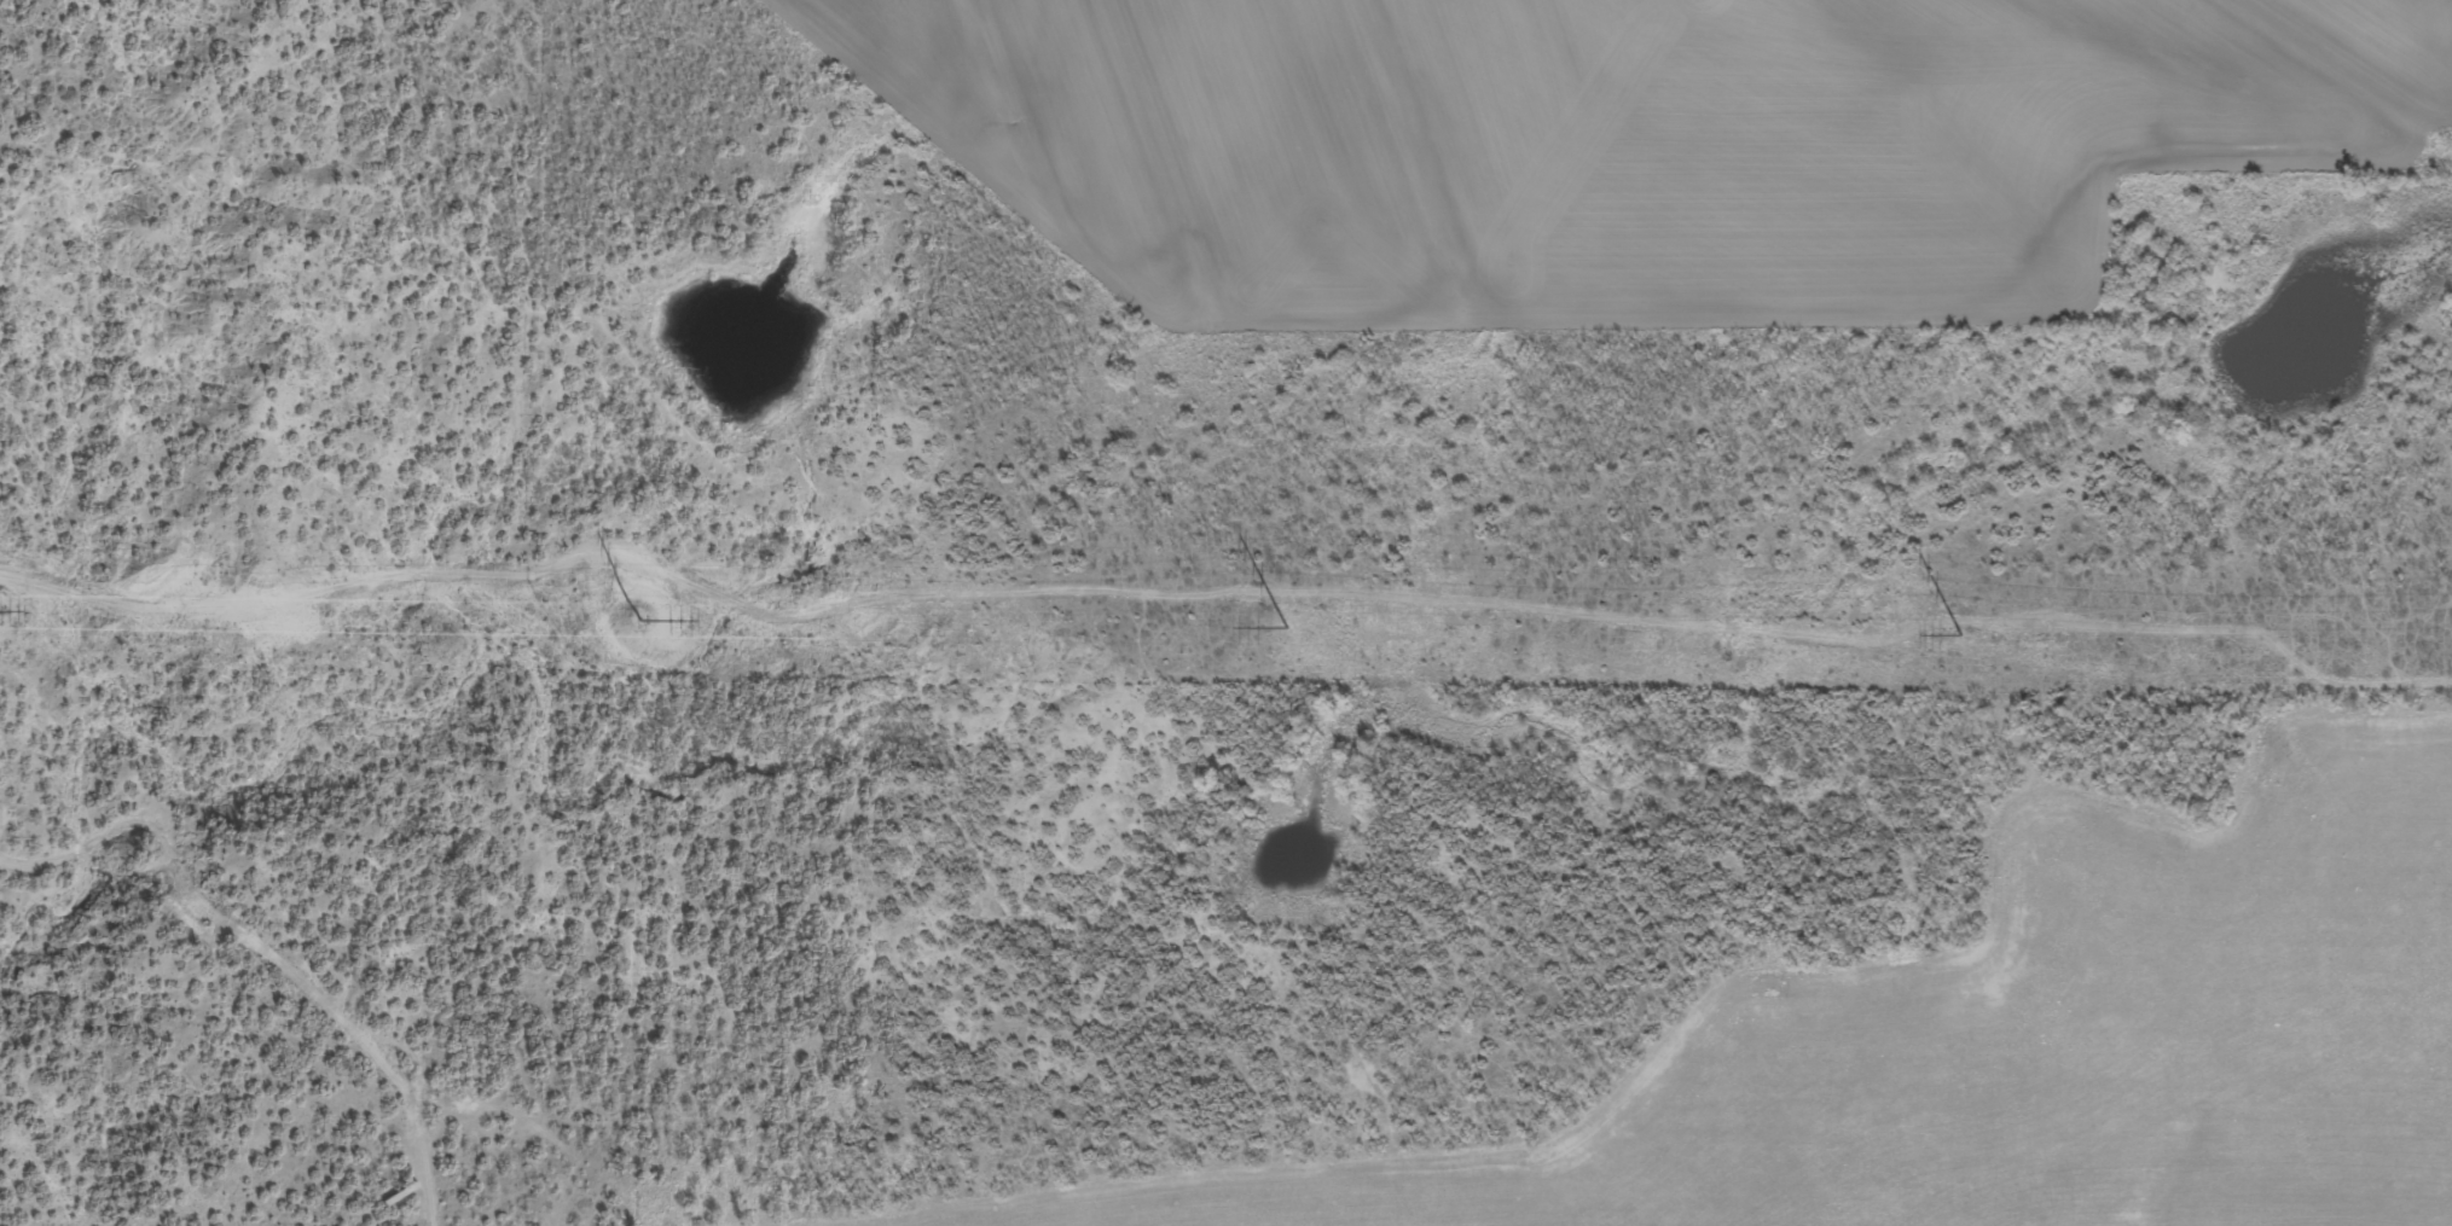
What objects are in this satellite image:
power tower: (633, 620)
power tower: (1285, 626)
power tower: (1958, 634)

